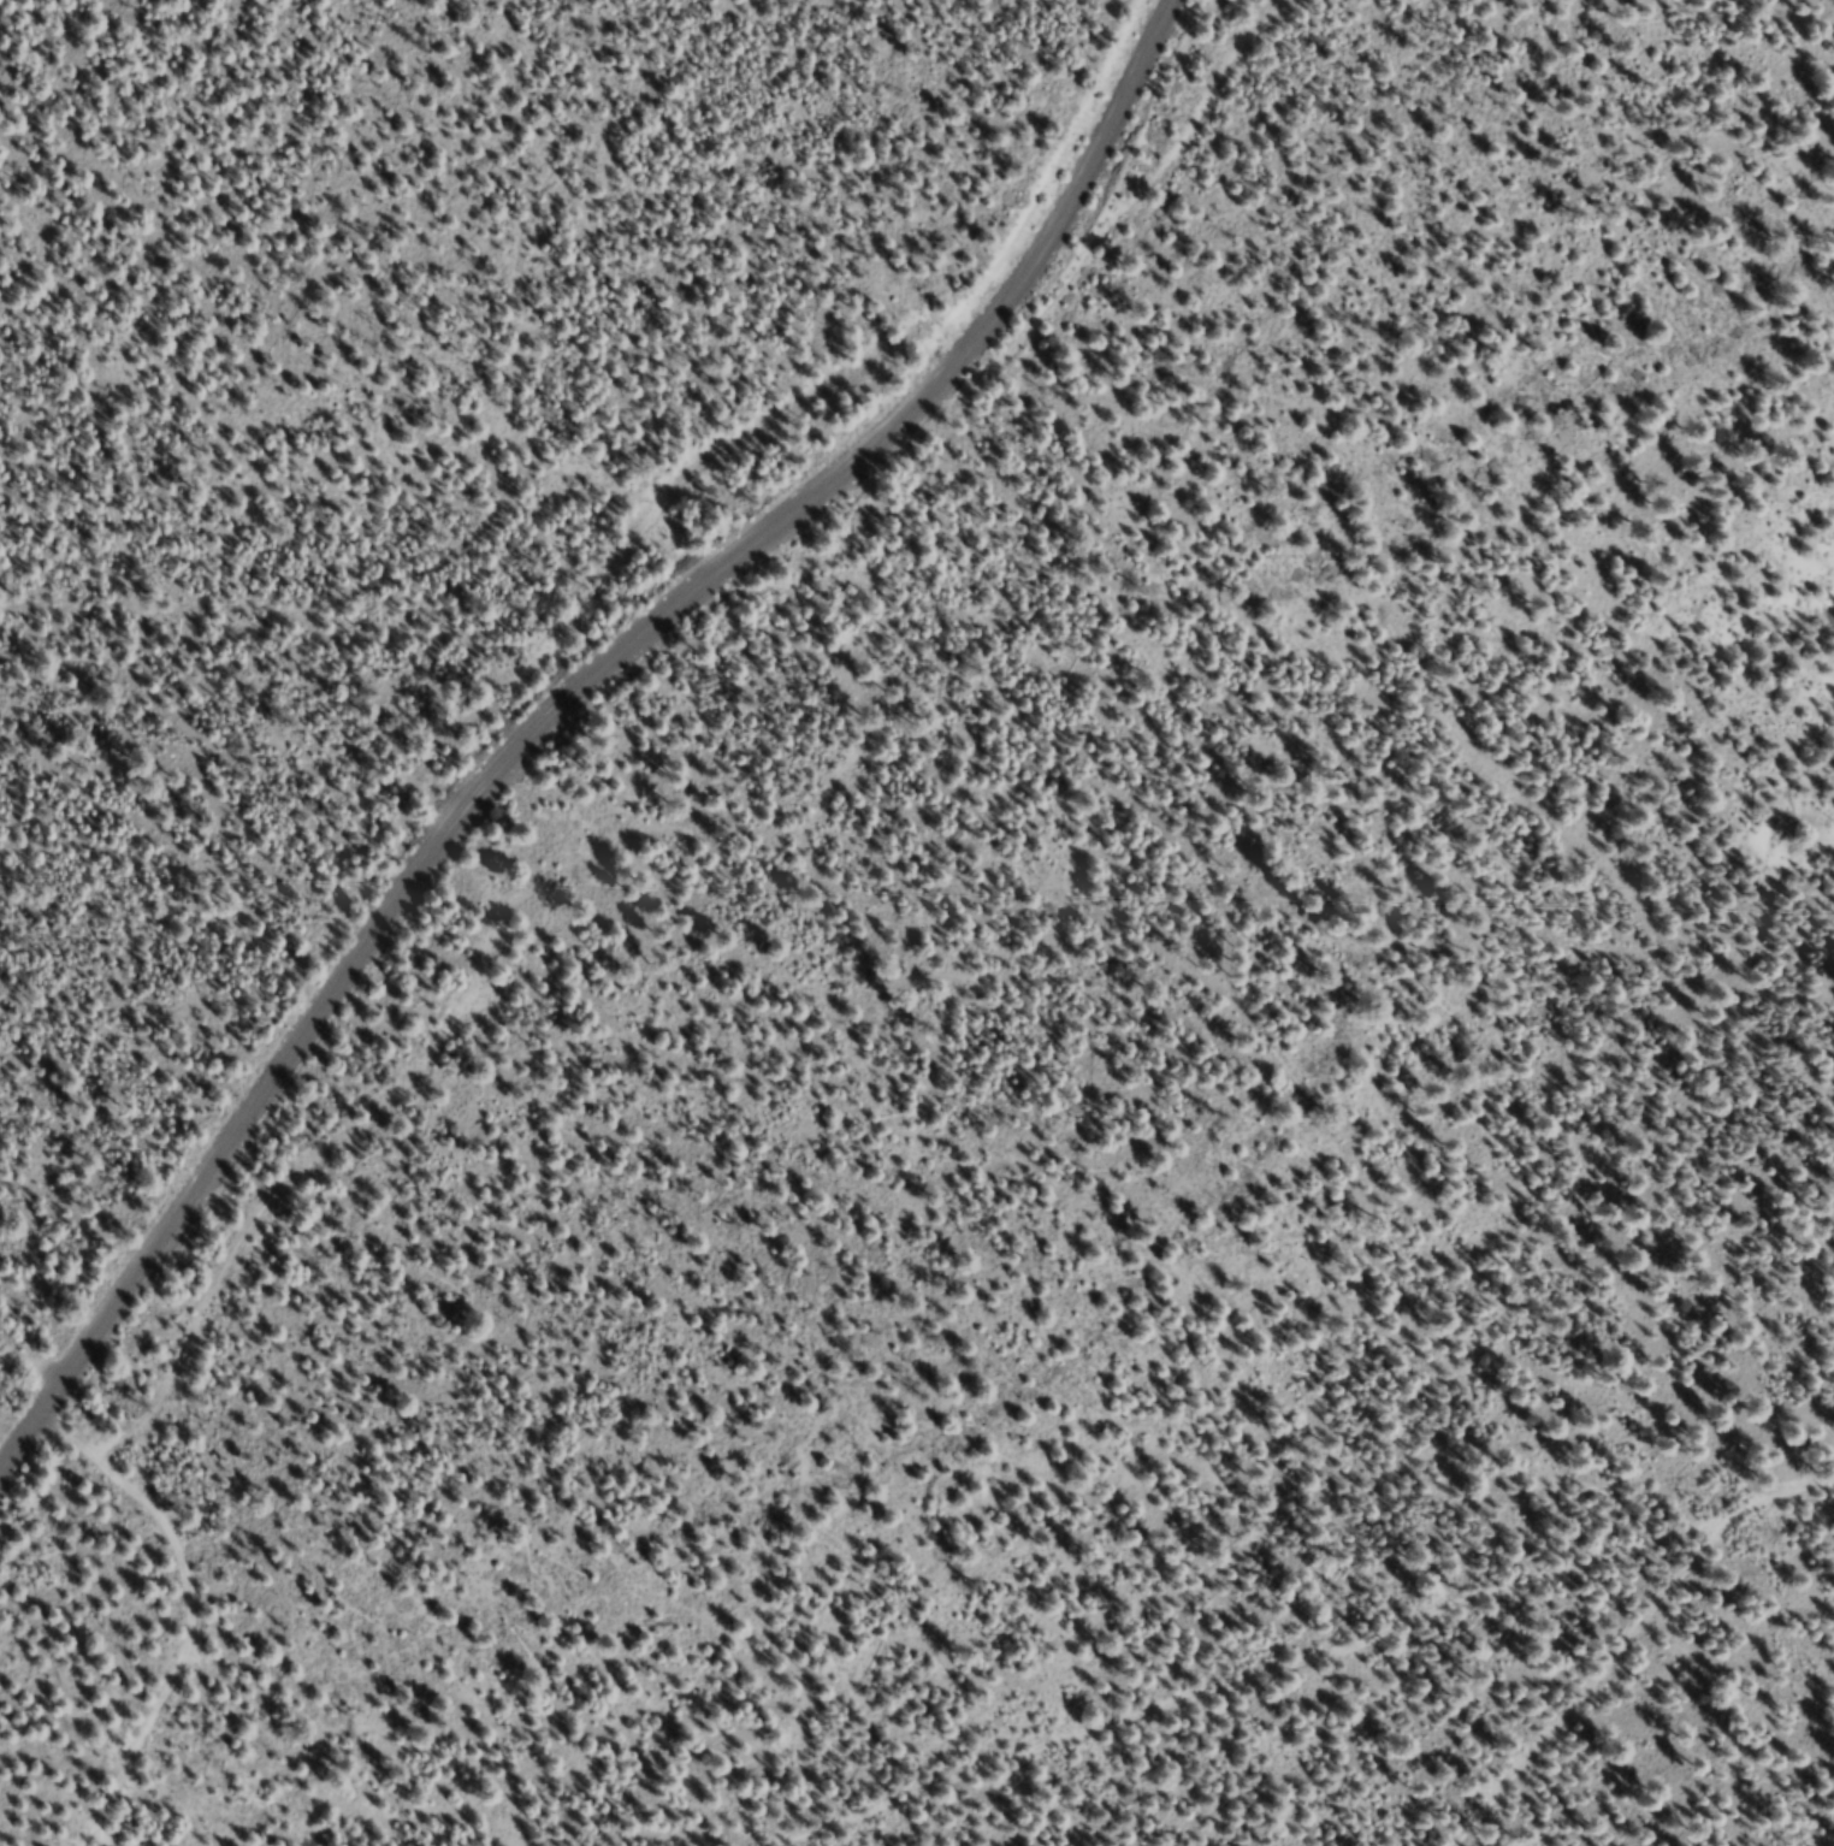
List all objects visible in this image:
road: (1160, 191)
road: (561, 712)
road: (190, 1578)
road: (1311, 1653)
road: (1605, 1679)

